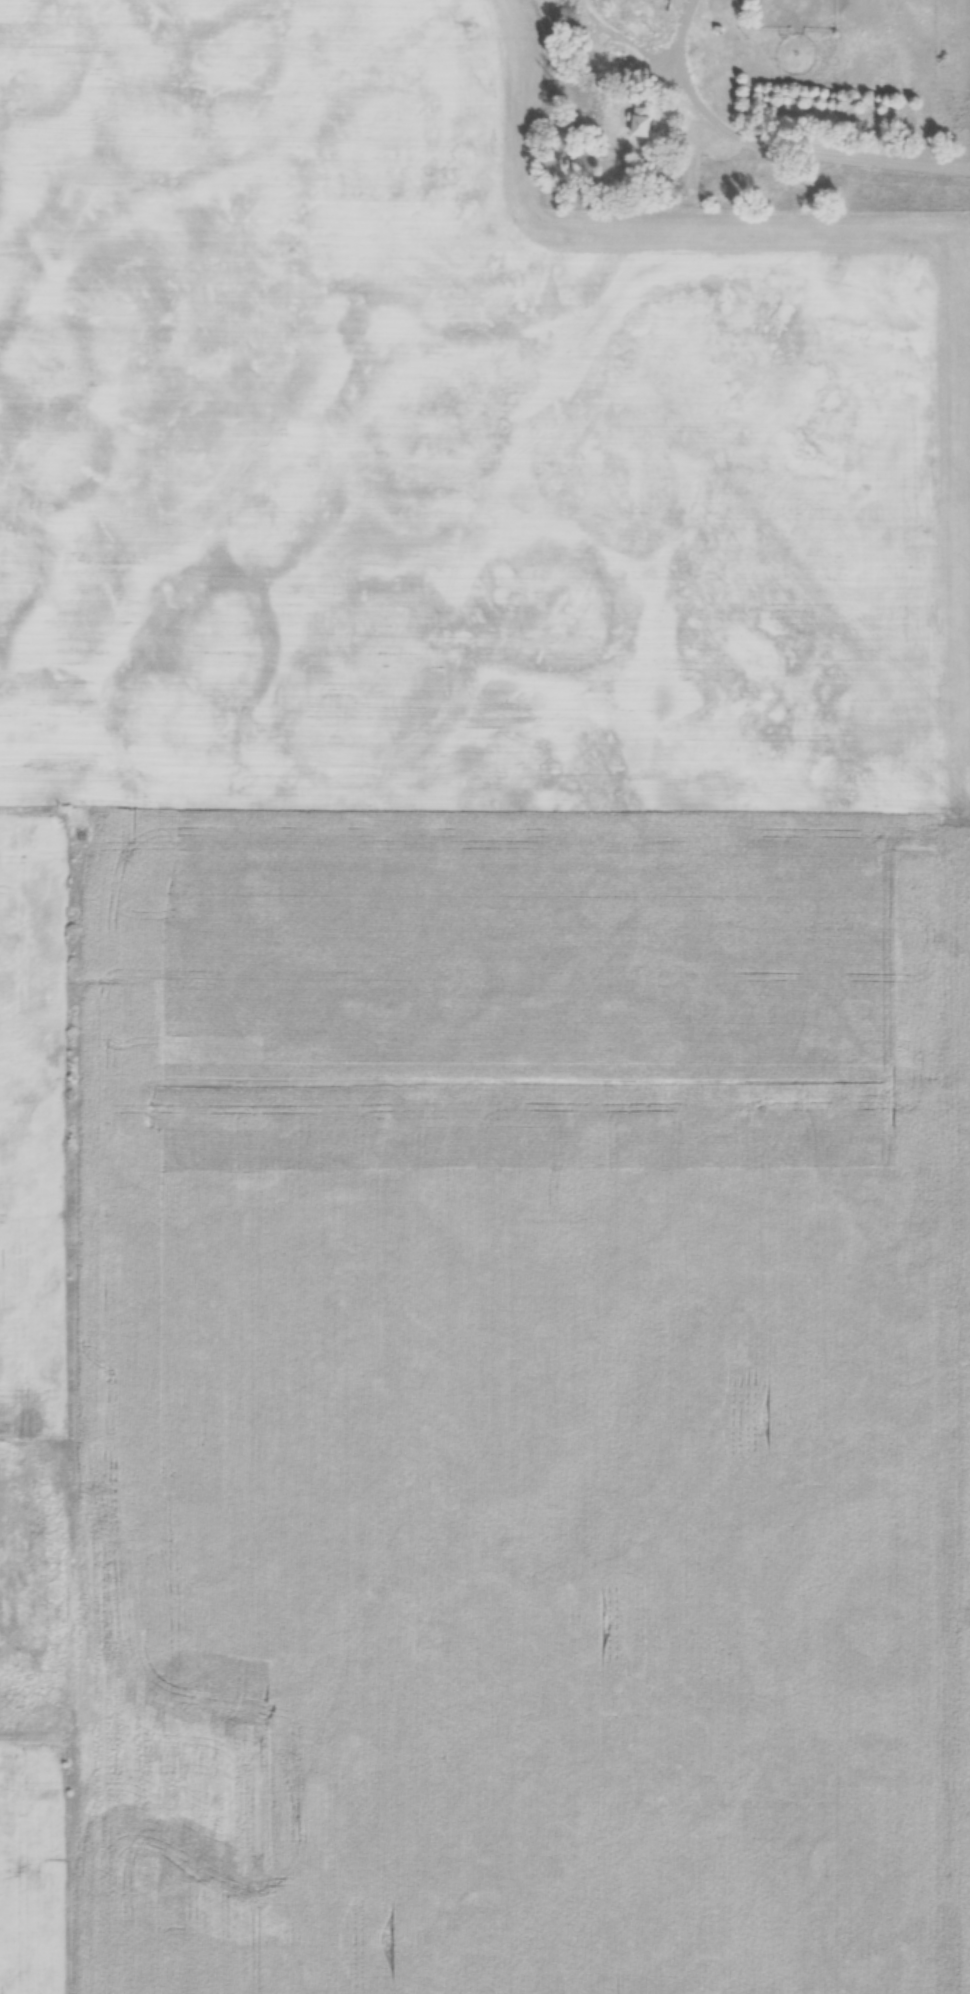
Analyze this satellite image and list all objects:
building: (636, 19)
road: (602, 26)
building: (640, 121)
road: (773, 145)

